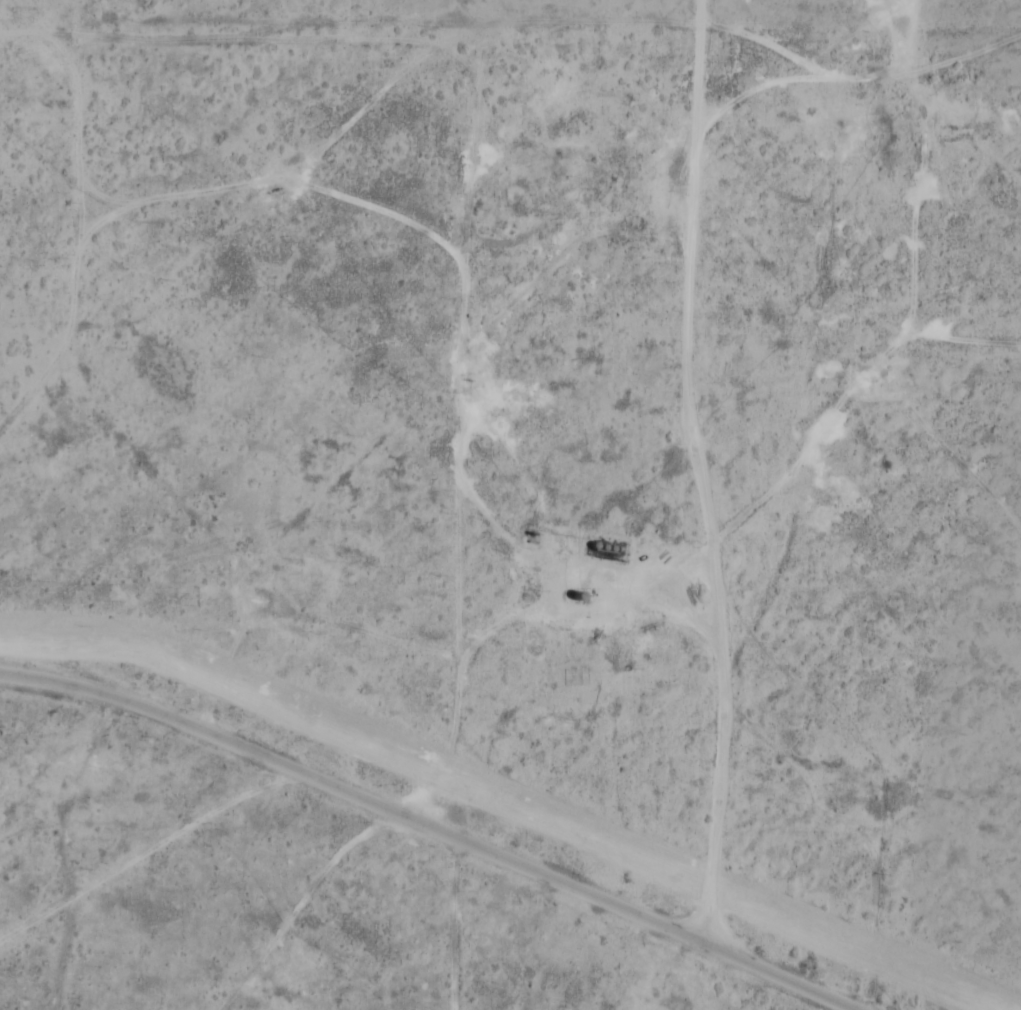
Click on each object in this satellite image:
road: (734, 27)
road: (1009, 43)
road: (743, 77)
road: (83, 172)
road: (268, 191)
road: (70, 211)
road: (900, 255)
road: (501, 286)
road: (458, 305)
road: (956, 341)
road: (787, 366)
road: (670, 471)
road: (499, 526)
road: (62, 795)
road: (433, 827)
road: (147, 853)
road: (292, 885)
road: (263, 988)
road: (837, 1006)

